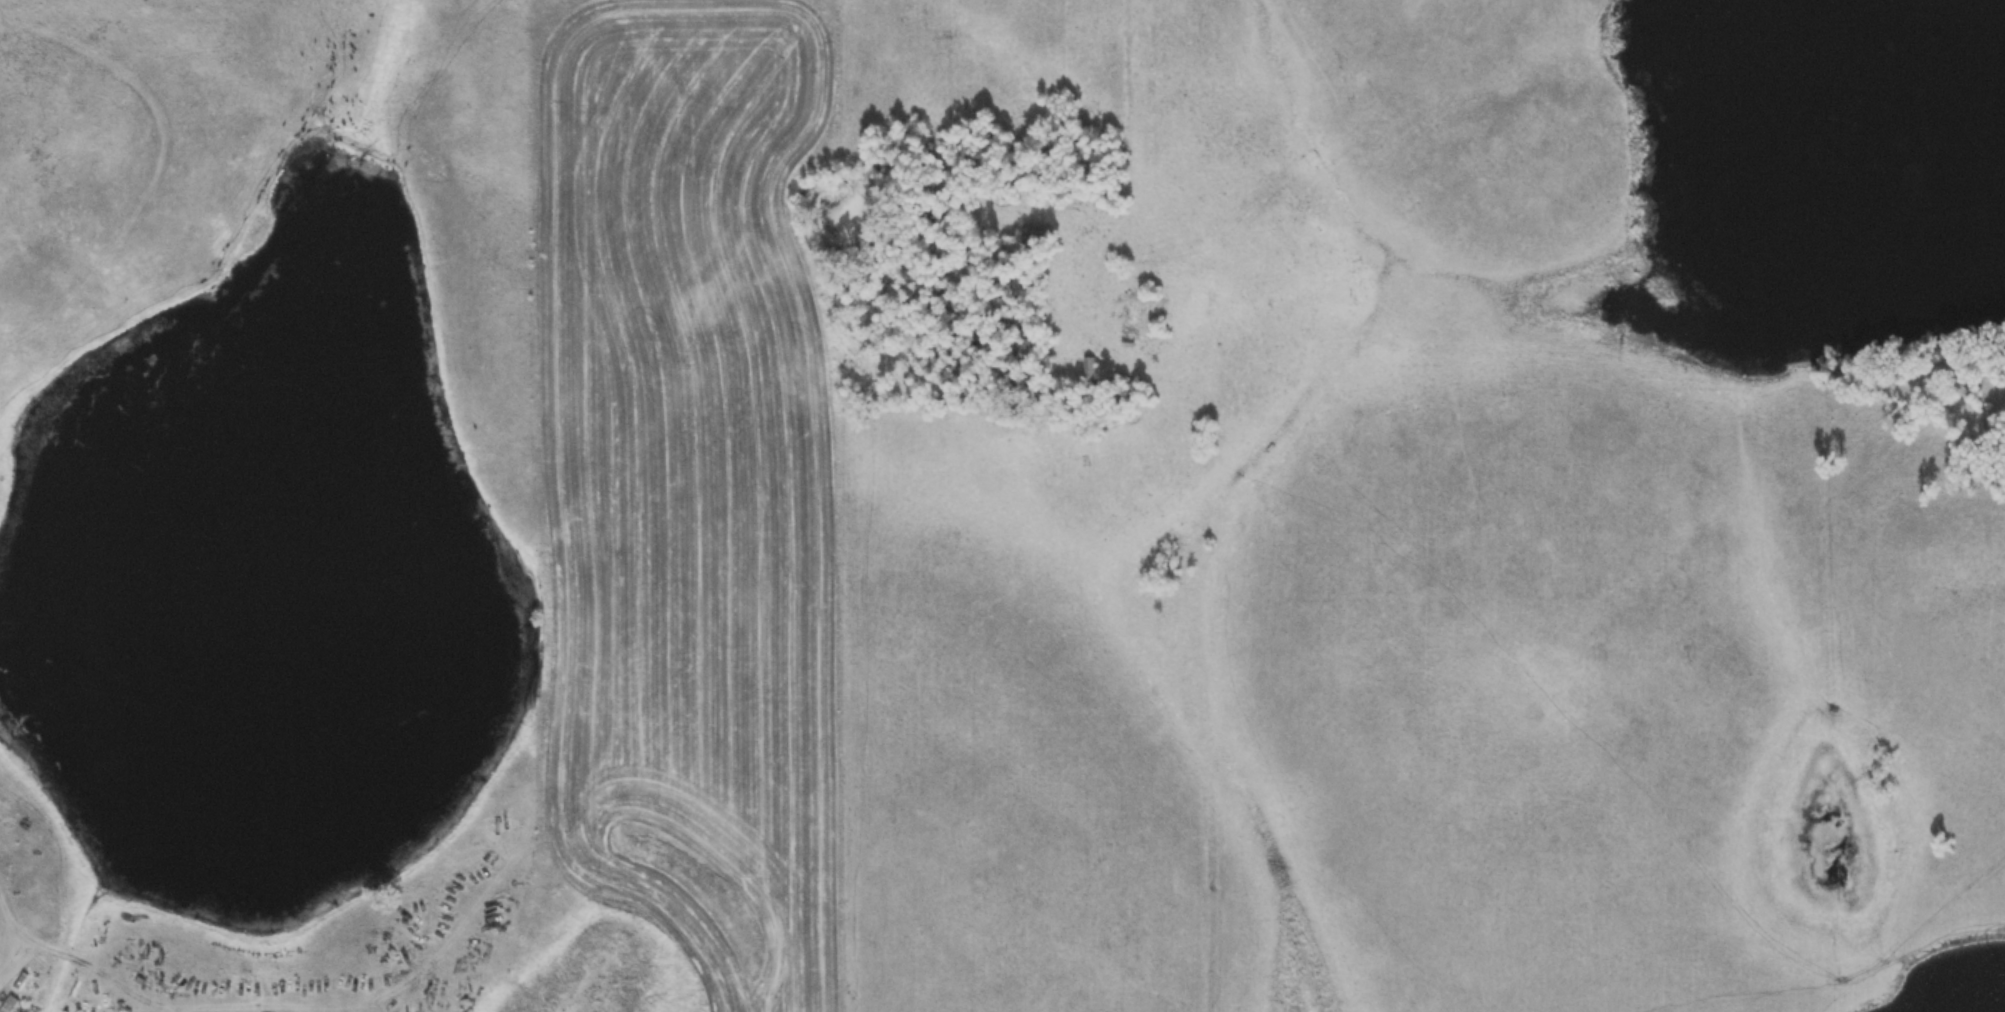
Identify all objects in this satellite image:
building: (1033, 232)
building: (1091, 369)

